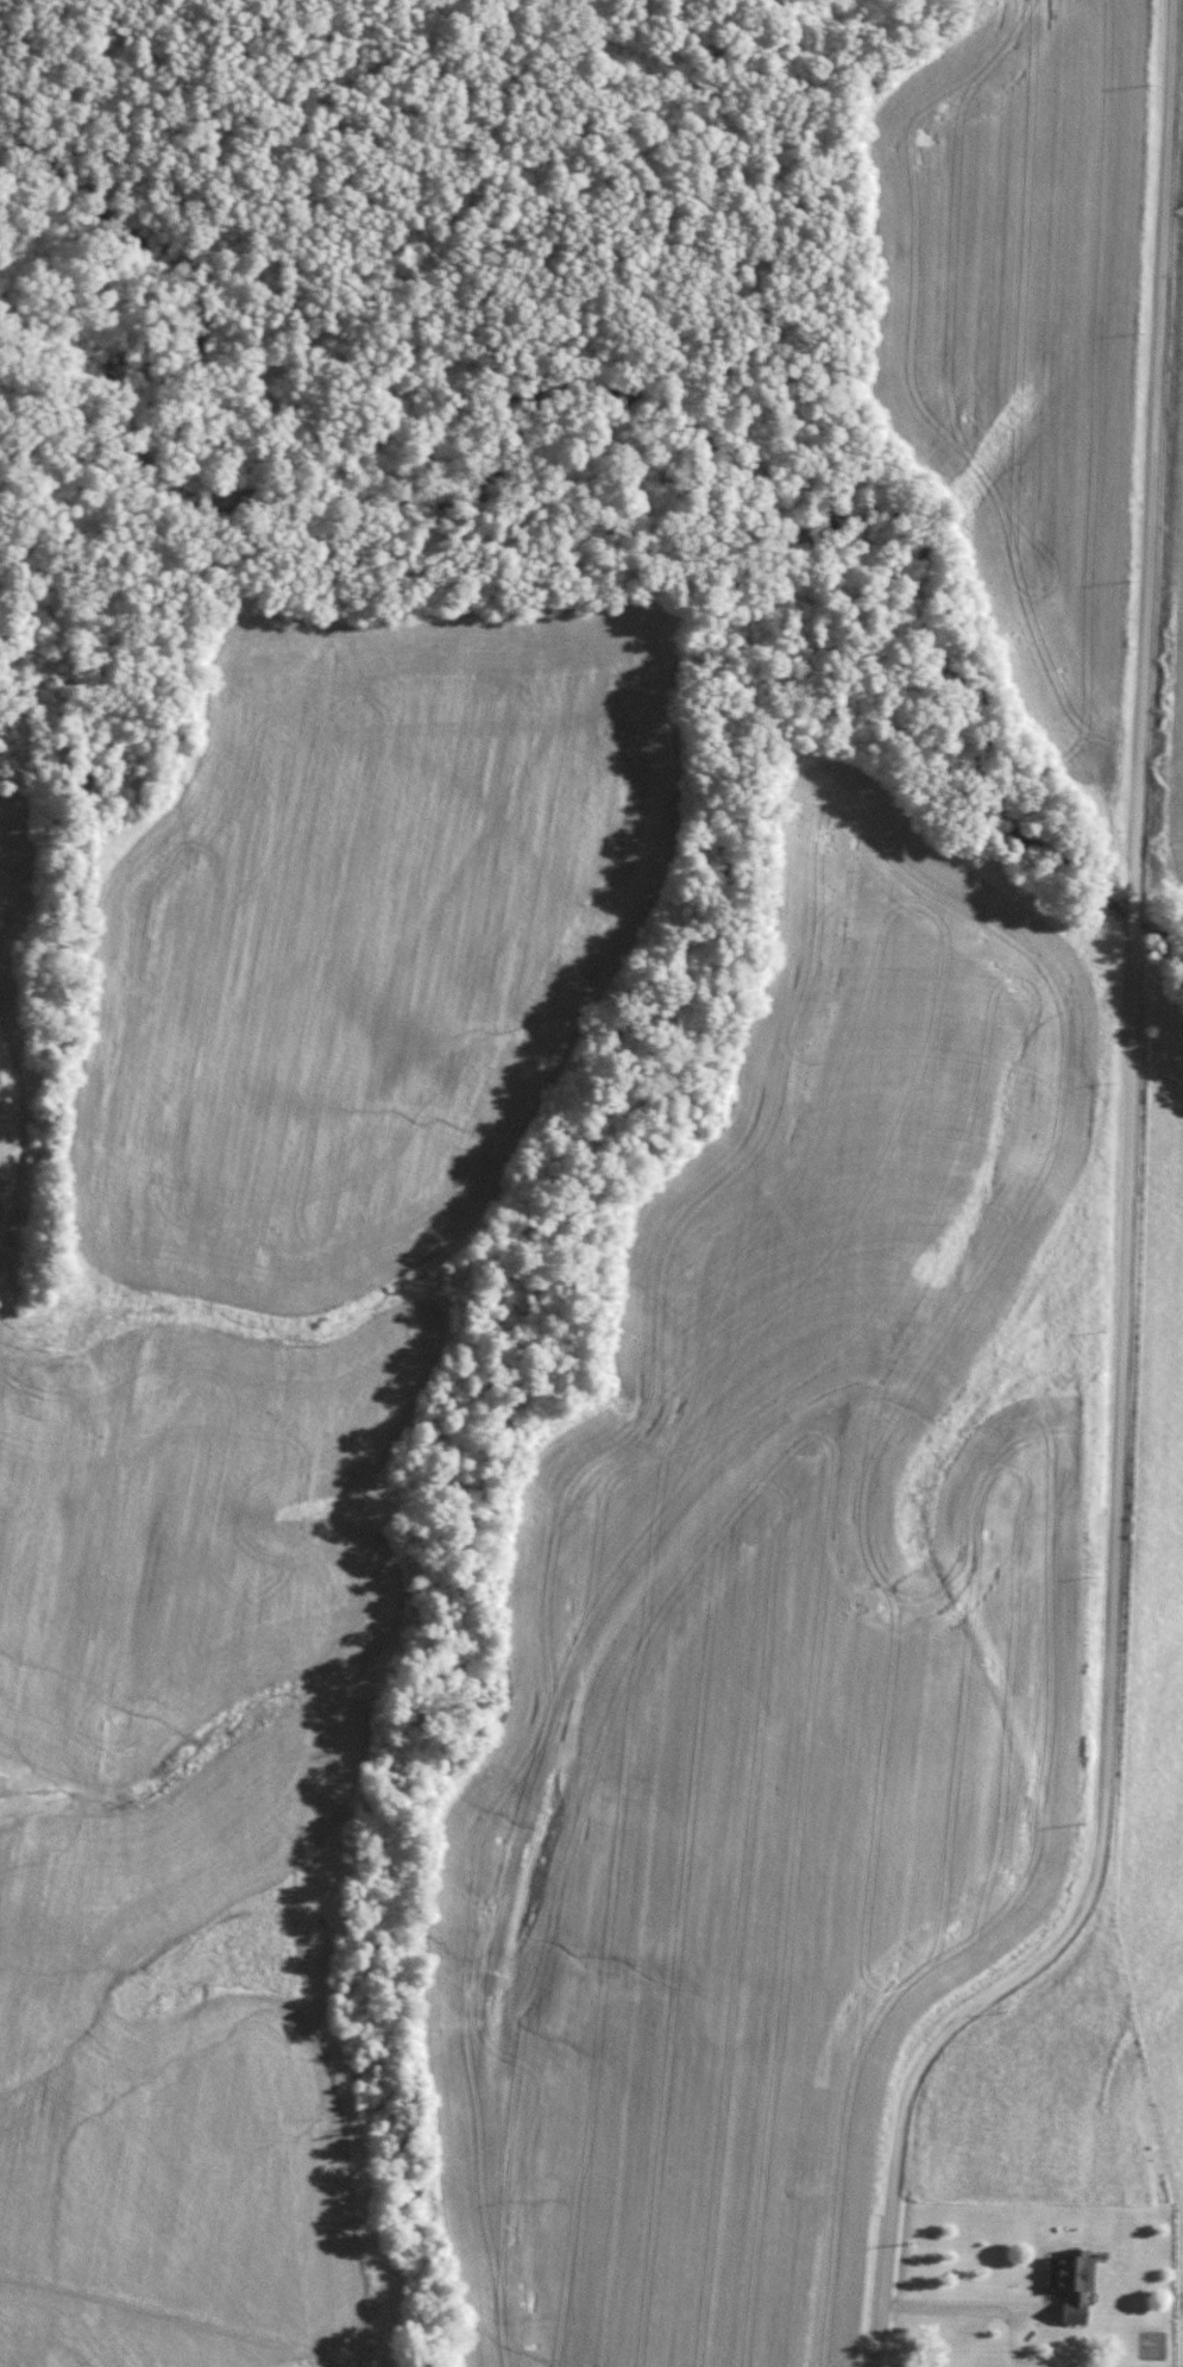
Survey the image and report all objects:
road: (1129, 1224)
building: (1074, 2283)
road: (965, 2311)
road: (1009, 2338)

